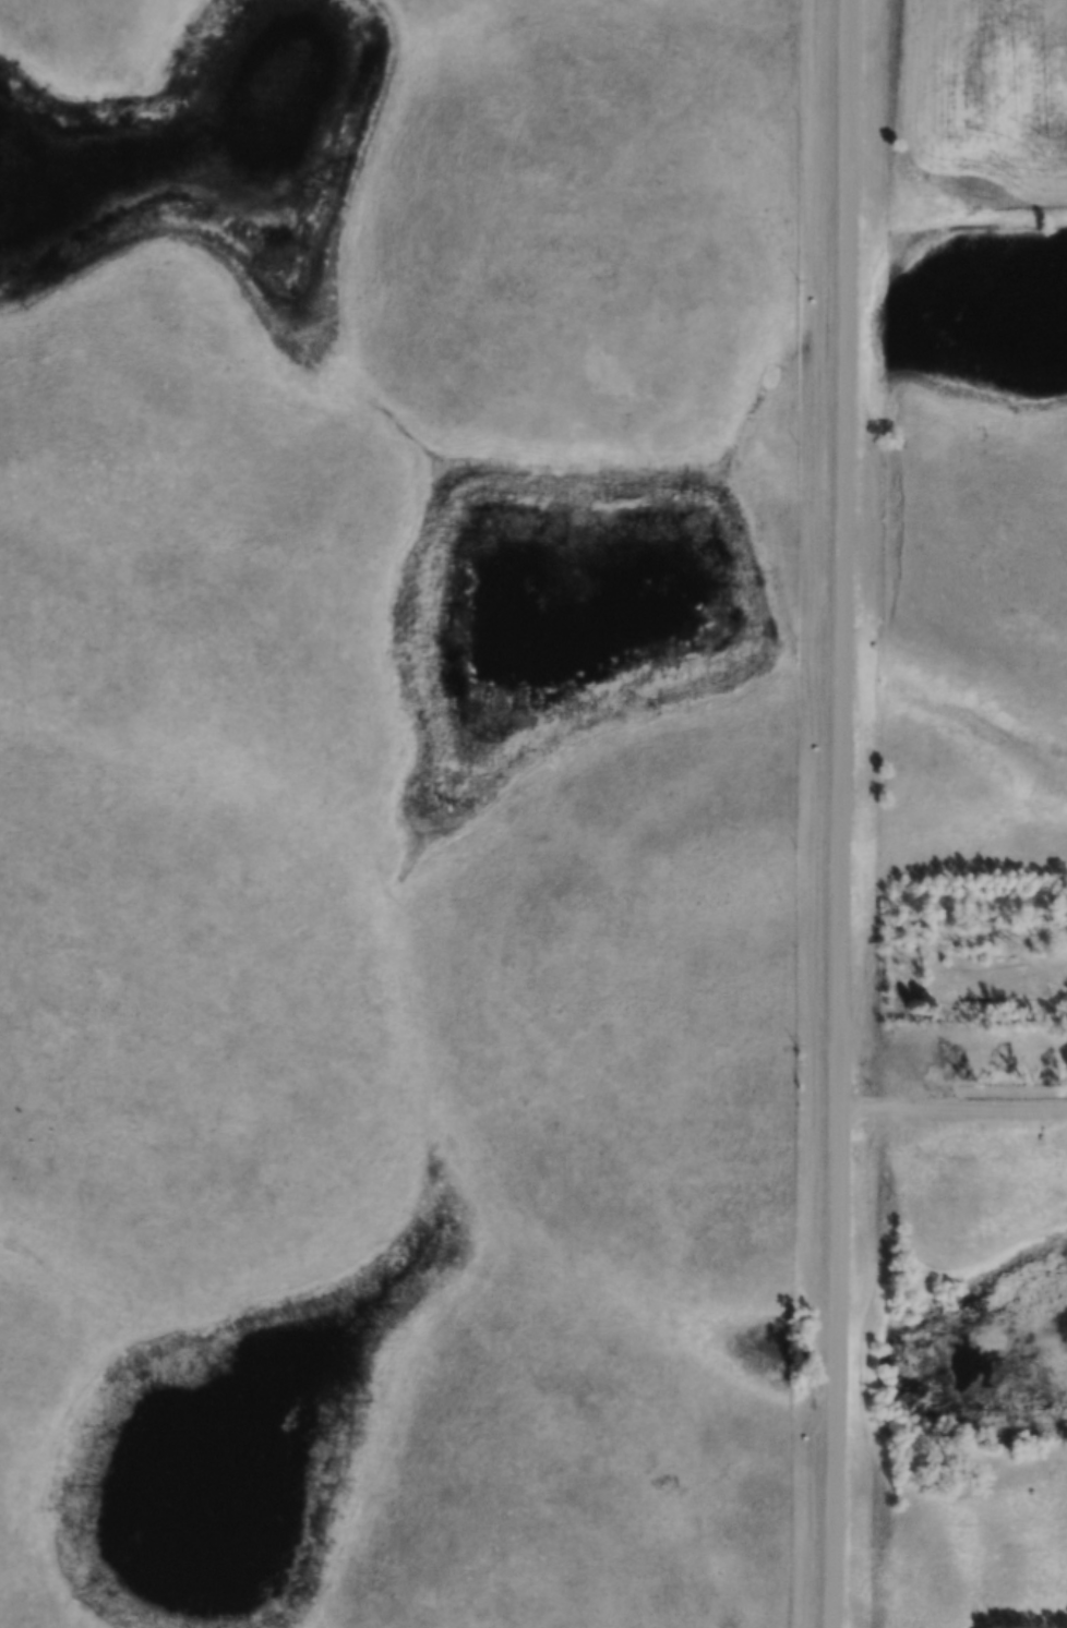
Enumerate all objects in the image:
building: (224, 570)
road: (844, 813)
road: (951, 1107)
building: (600, 1457)

